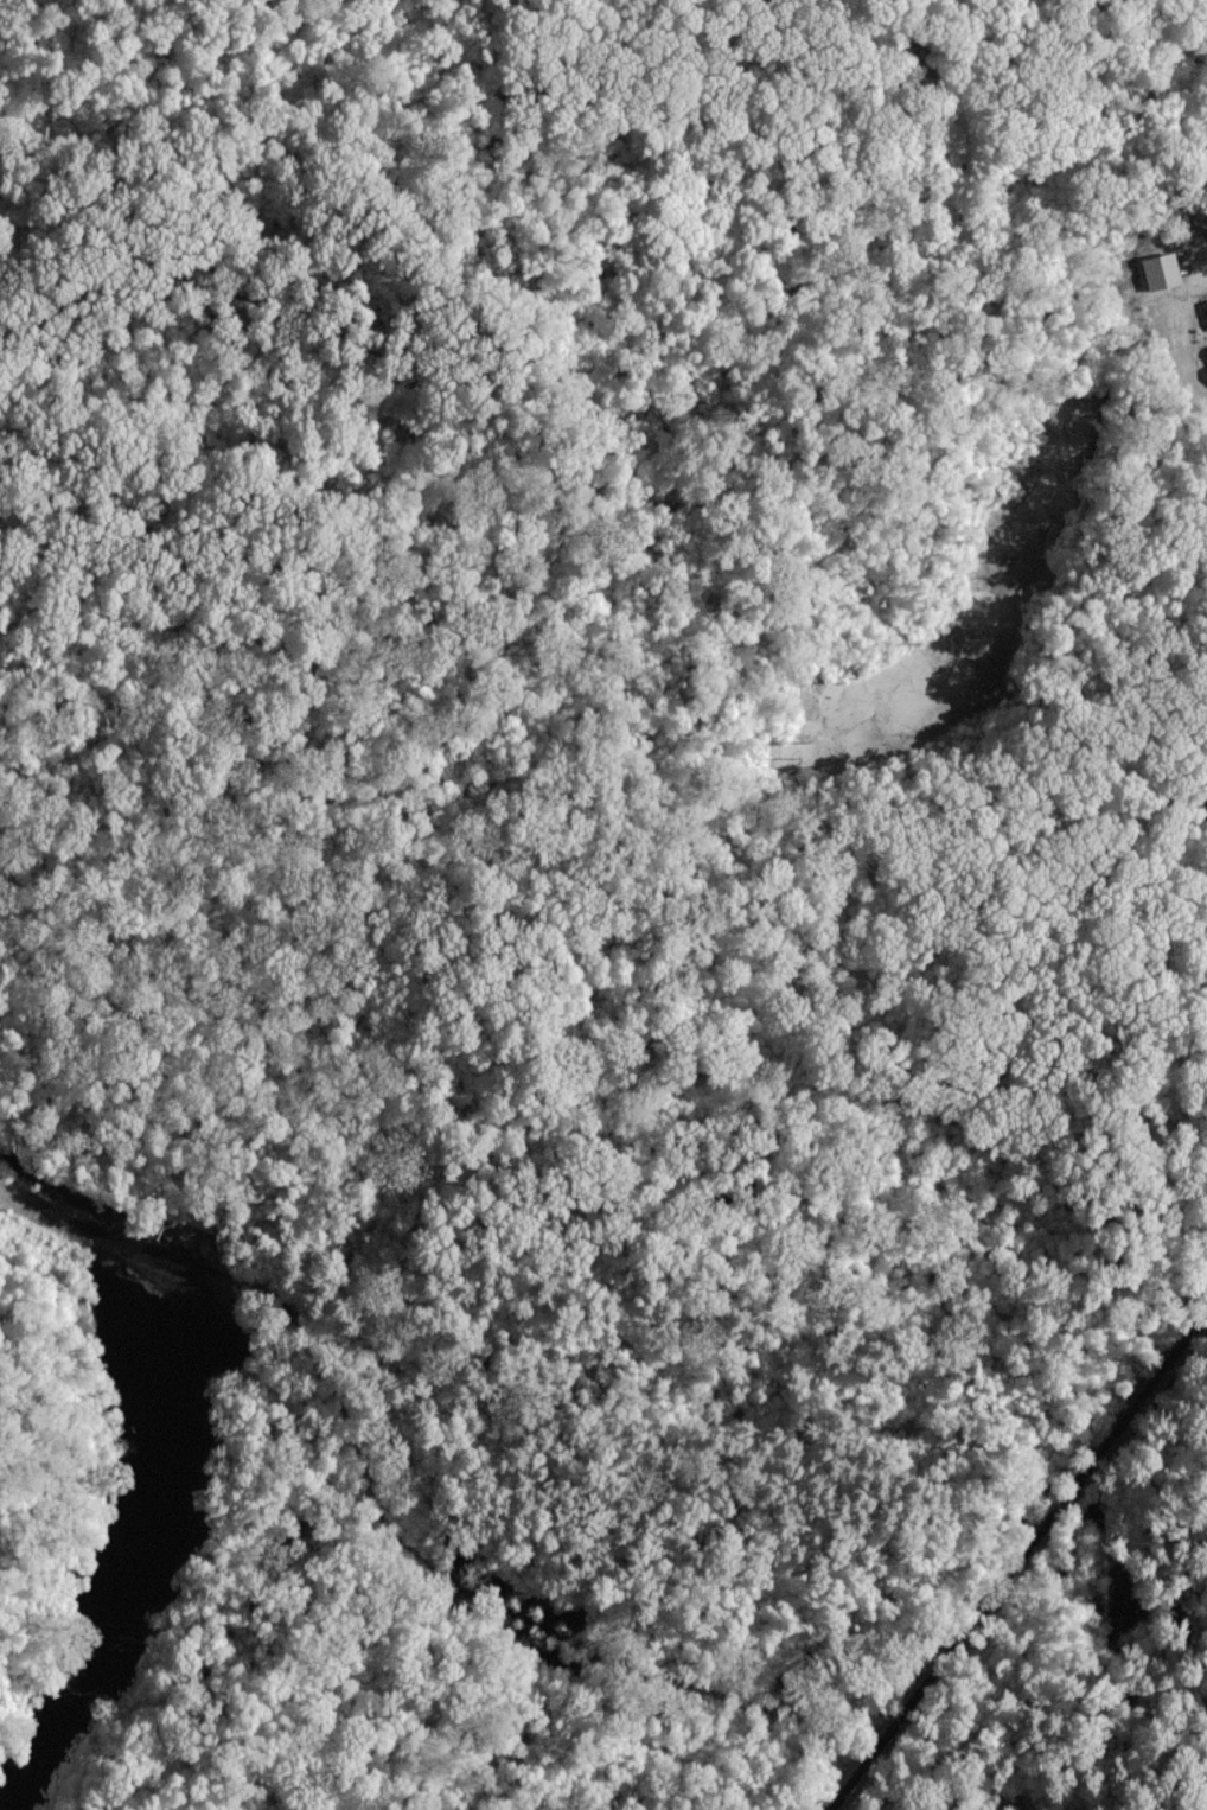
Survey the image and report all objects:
building: (1205, 310)
building: (1206, 350)
railway: (1018, 1560)

